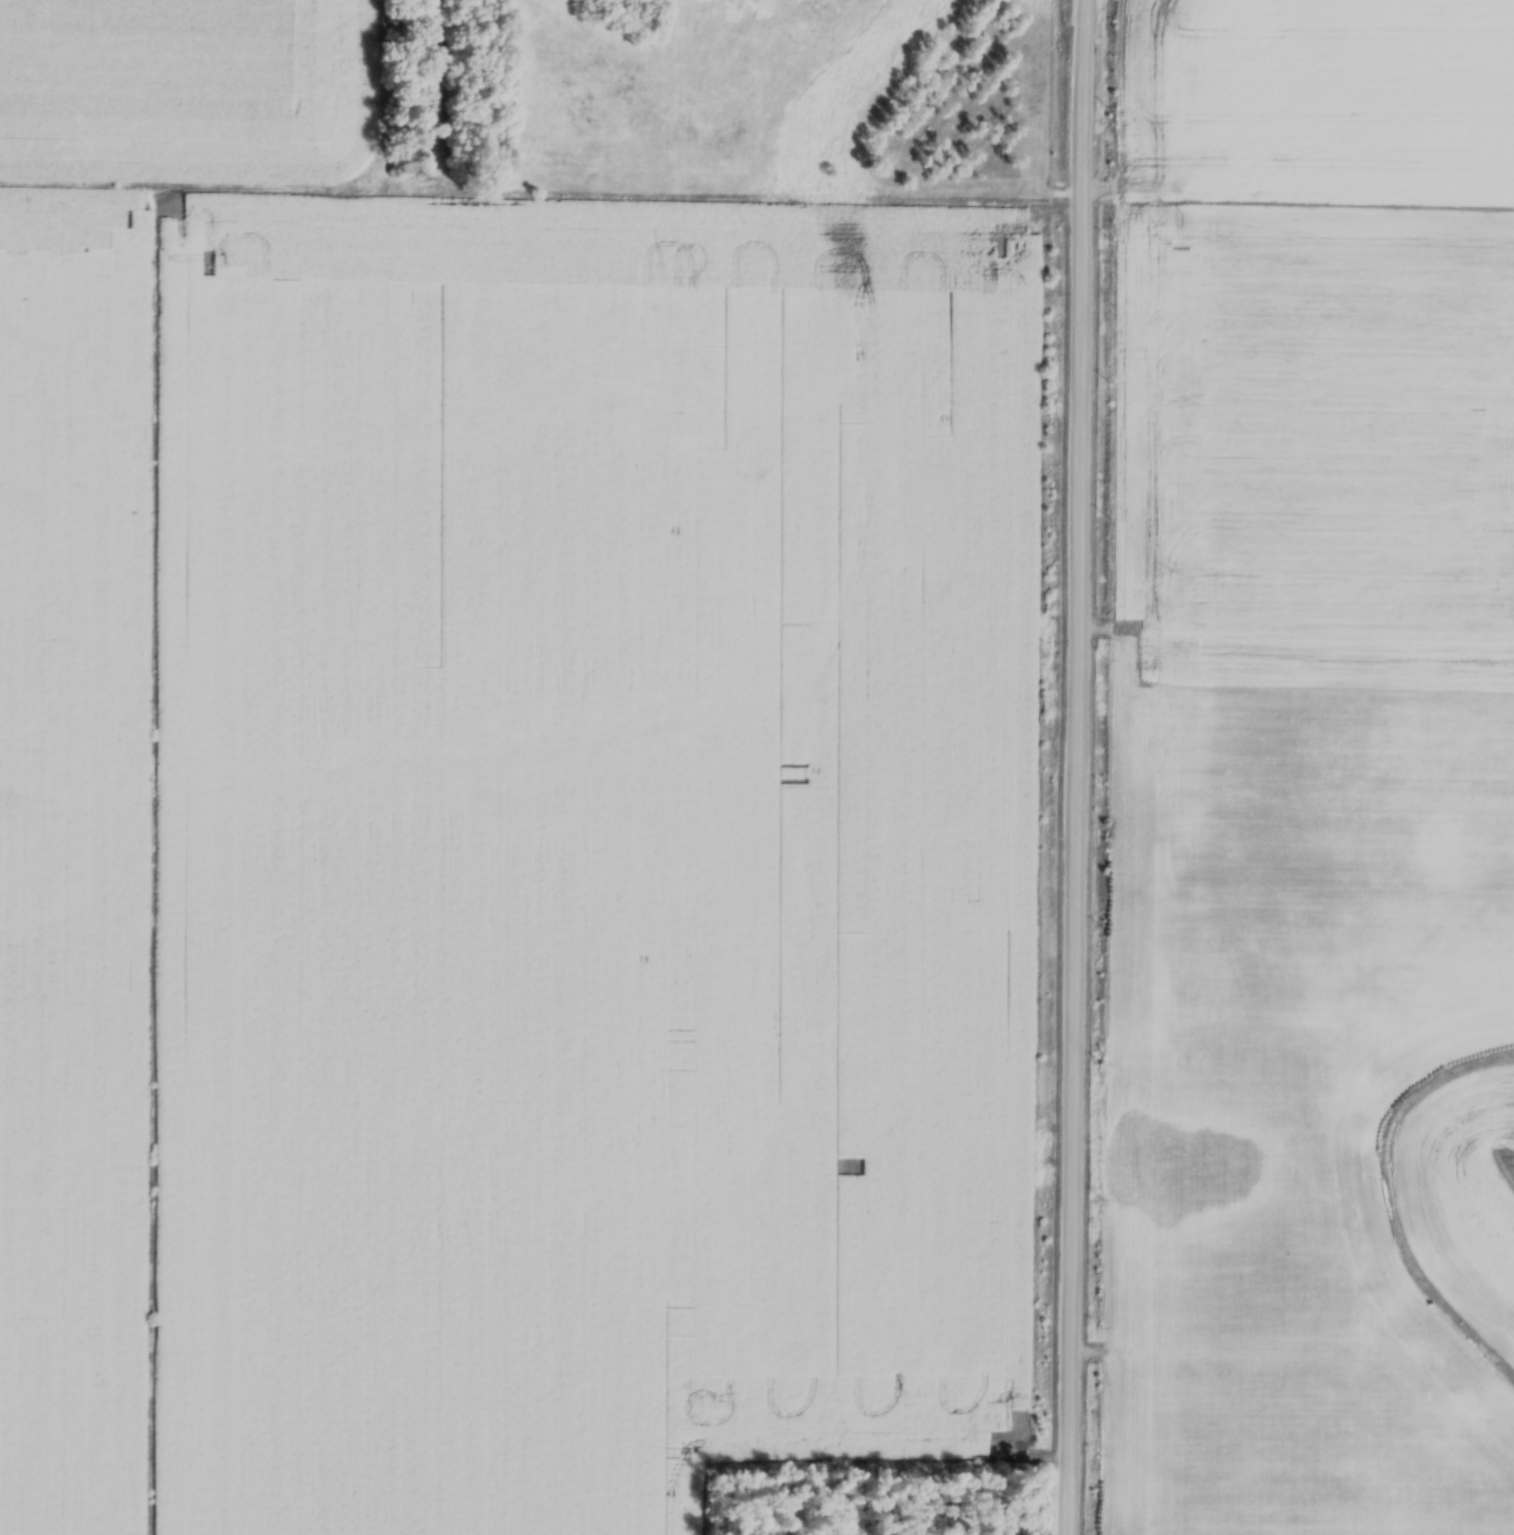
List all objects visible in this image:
road: (1080, 767)

